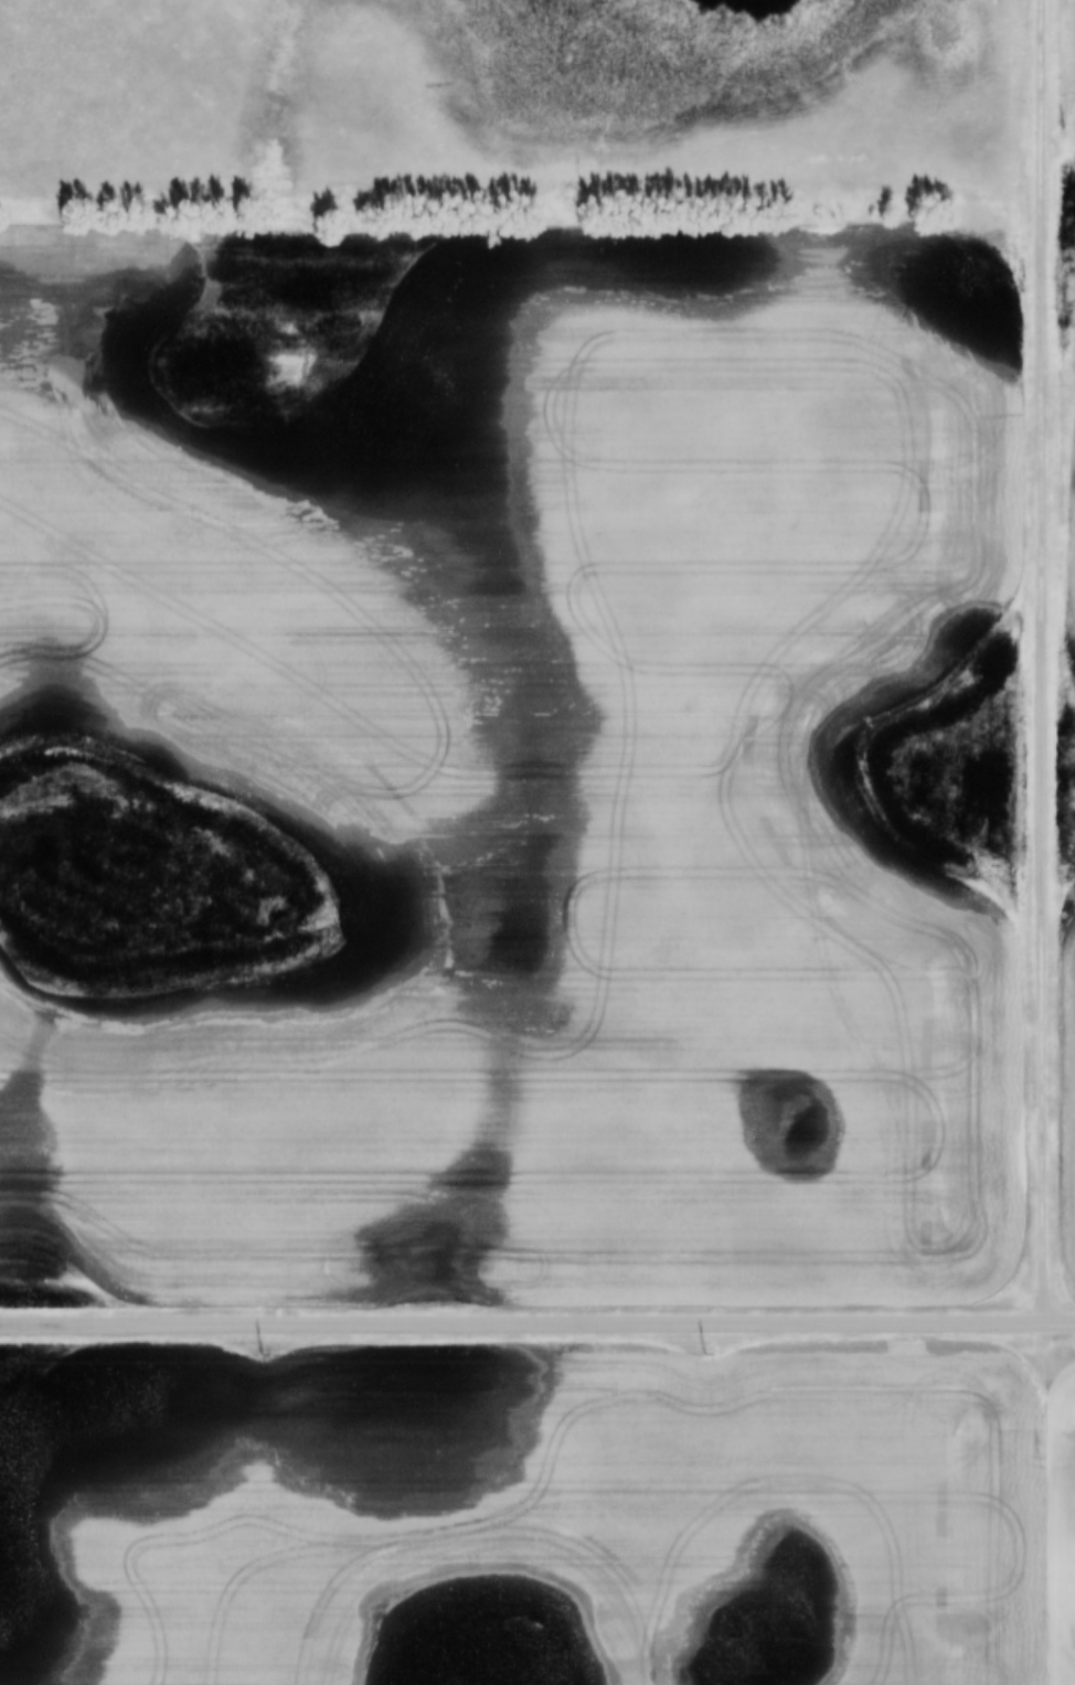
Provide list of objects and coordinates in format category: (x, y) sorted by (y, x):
road: (1045, 659)
road: (537, 1321)
power tower: (252, 1356)
power tower: (707, 1356)
road: (1043, 1502)

